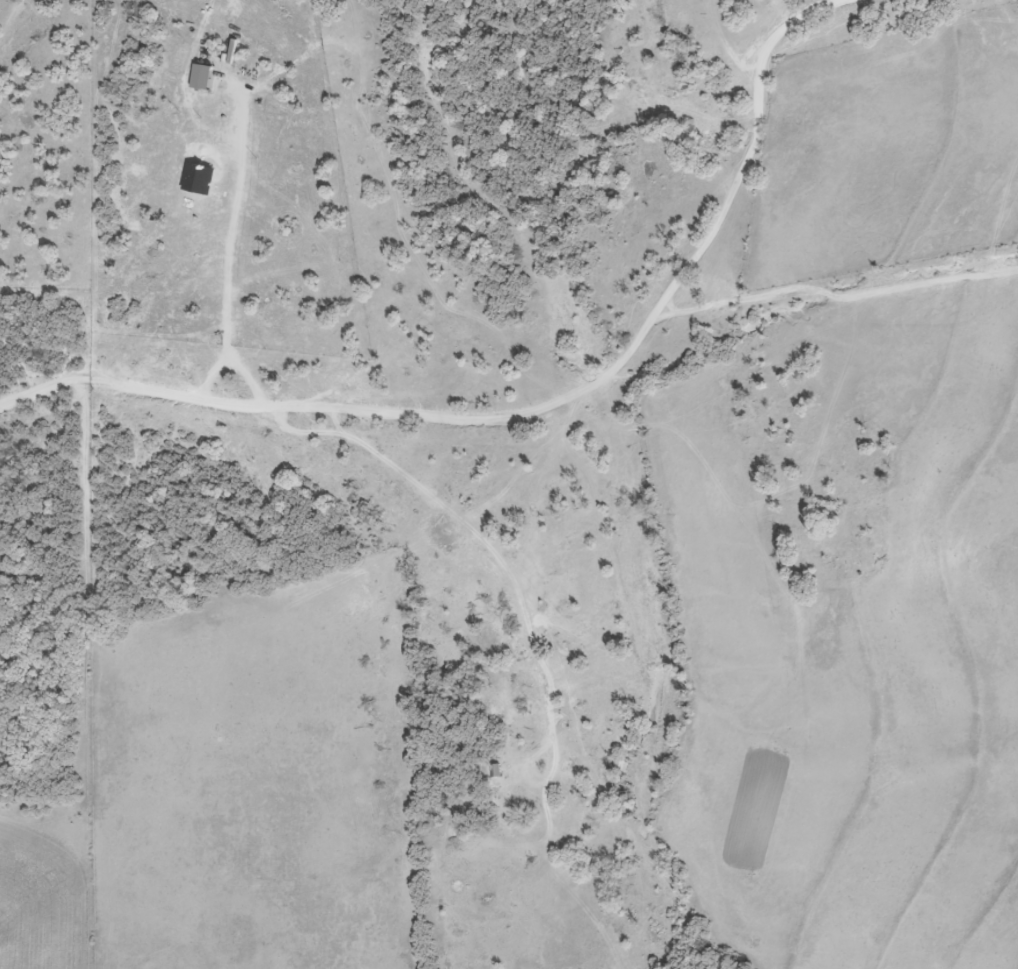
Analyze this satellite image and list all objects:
road: (510, 396)
building: (208, 721)
building: (493, 771)

